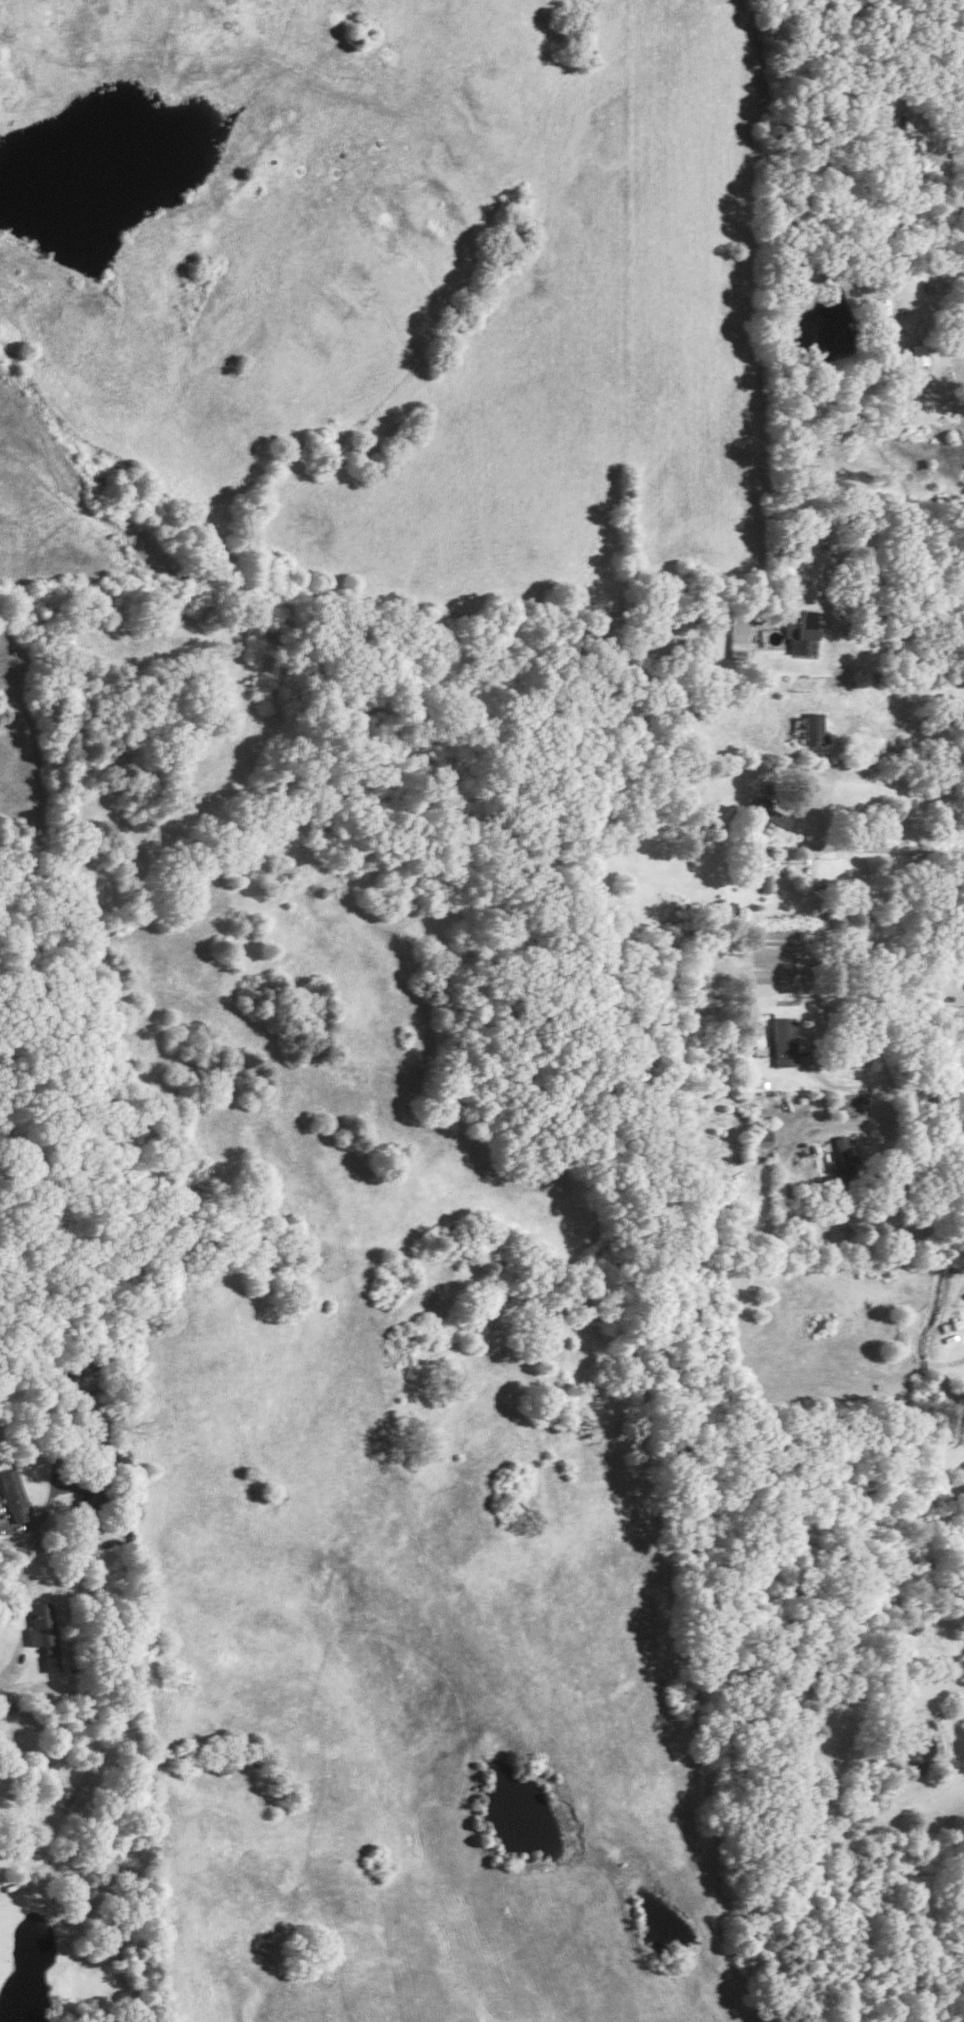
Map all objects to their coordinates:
building: (896, 121)
building: (905, 140)
road: (959, 158)
building: (907, 326)
building: (917, 353)
road: (938, 398)
building: (825, 538)
building: (800, 631)
road: (901, 632)
building: (737, 636)
road: (906, 726)
building: (809, 727)
road: (885, 769)
building: (770, 810)
road: (881, 846)
building: (766, 869)
building: (783, 1041)
road: (883, 1084)
building: (762, 1137)
building: (845, 1154)
building: (14, 1494)
building: (43, 1633)
road: (8, 1677)

